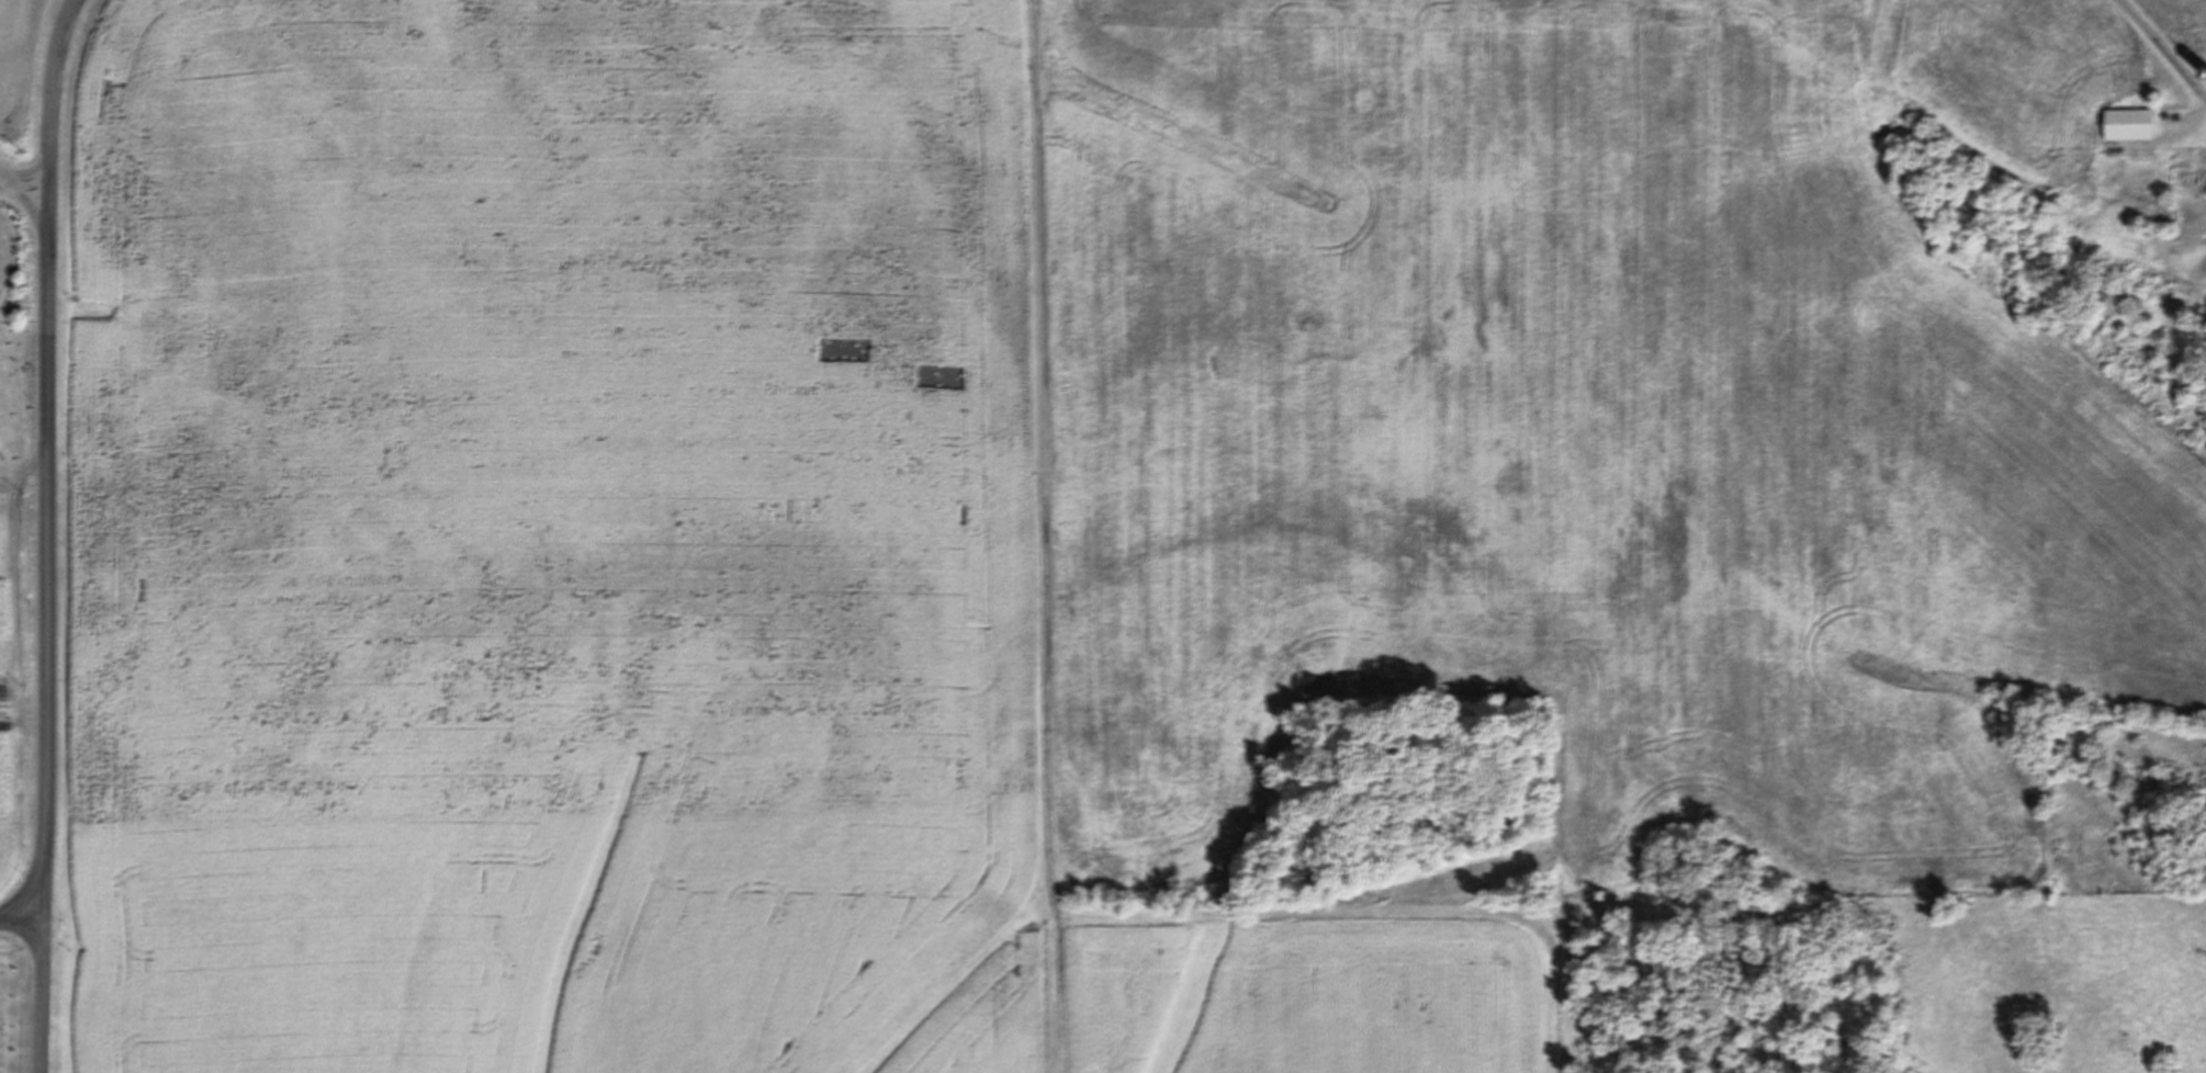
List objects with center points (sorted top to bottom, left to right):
road: (2174, 31)
building: (2127, 123)
road: (23, 195)
road: (44, 456)
road: (20, 919)
park: (20, 996)
road: (41, 996)

